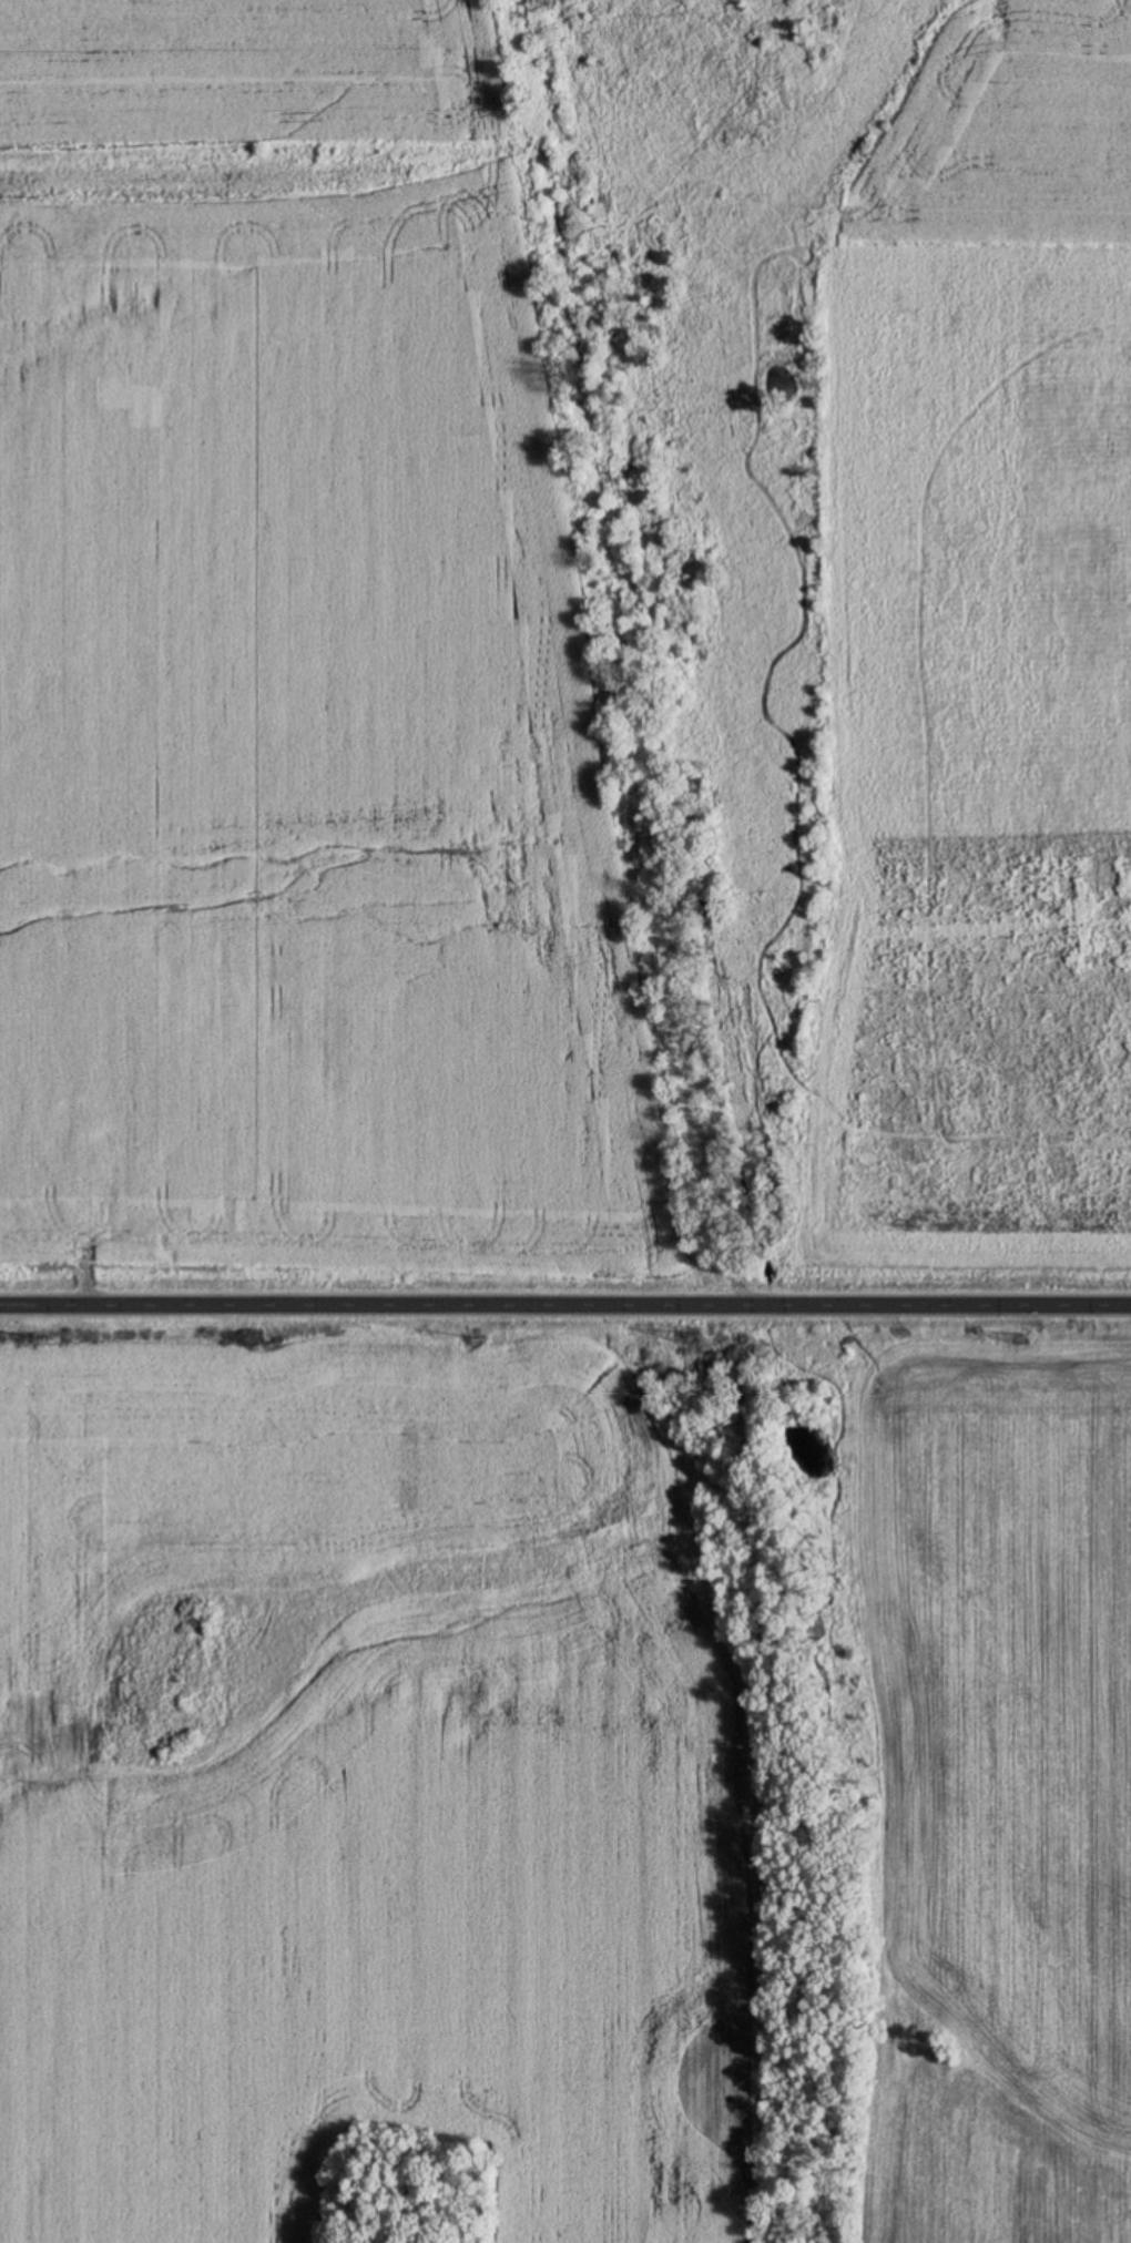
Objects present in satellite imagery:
road: (565, 1298)
power tower: (253, 1340)
power tower: (693, 1340)
power tower: (1022, 1340)

